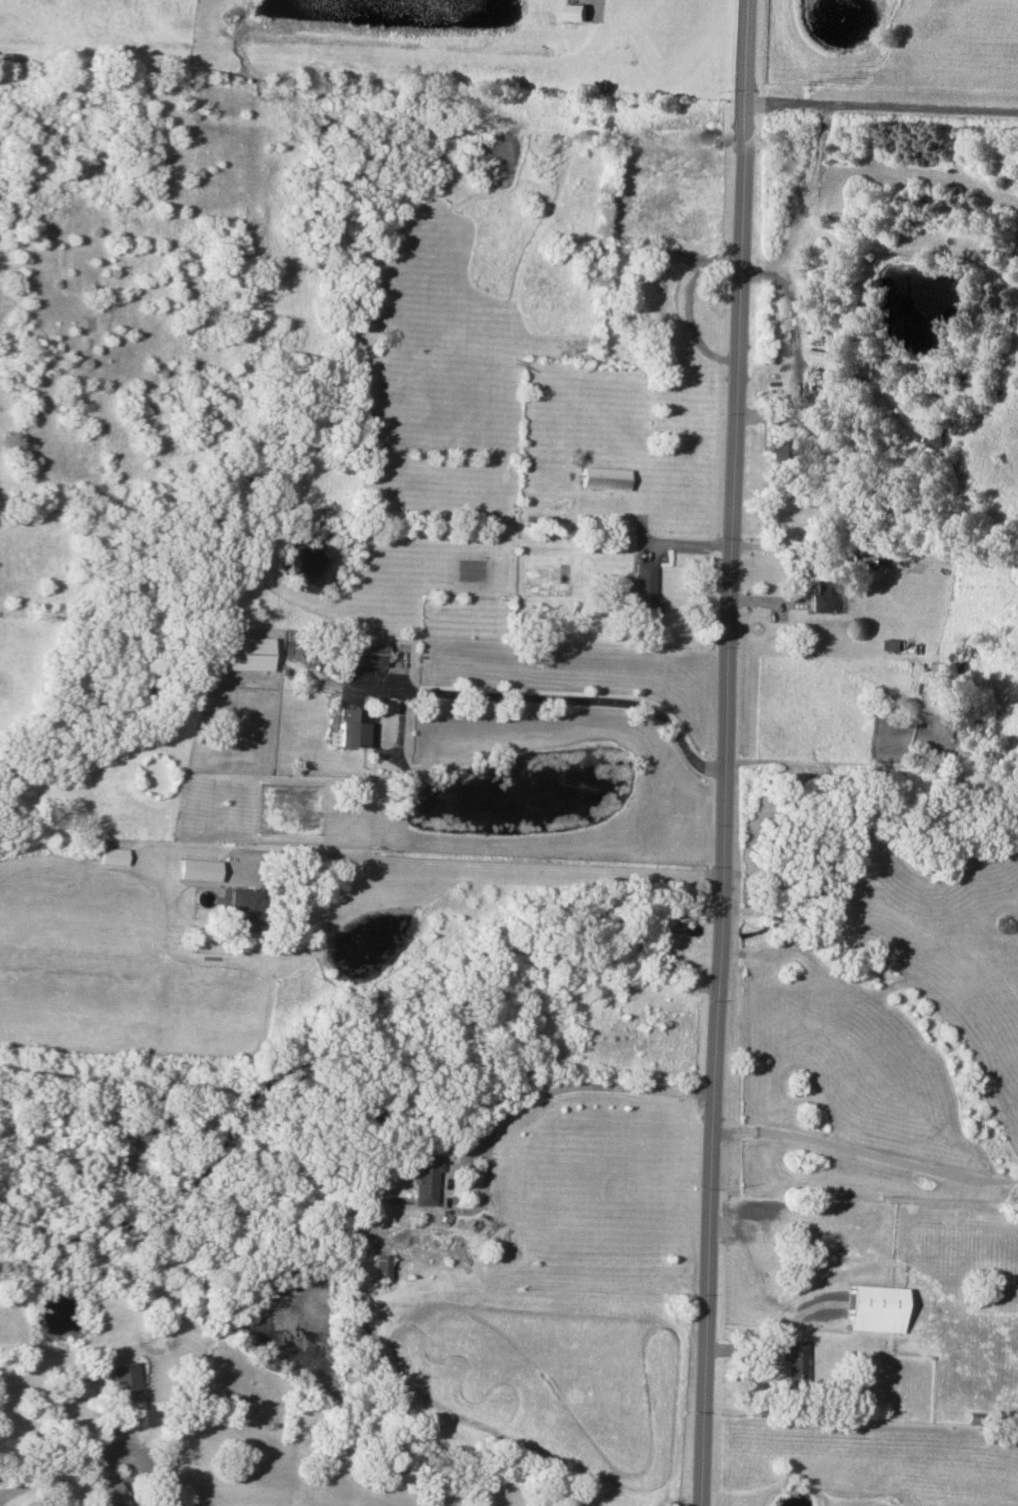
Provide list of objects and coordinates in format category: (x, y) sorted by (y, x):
building: (577, 11)
road: (882, 101)
building: (647, 590)
building: (822, 597)
building: (363, 652)
building: (248, 653)
road: (557, 695)
building: (350, 727)
road: (725, 752)
road: (449, 861)
building: (199, 869)
building: (245, 907)
road: (571, 1087)
road: (866, 1154)
building: (423, 1181)
building: (380, 1266)
building: (874, 1310)
building: (793, 1363)
road: (97, 1447)

